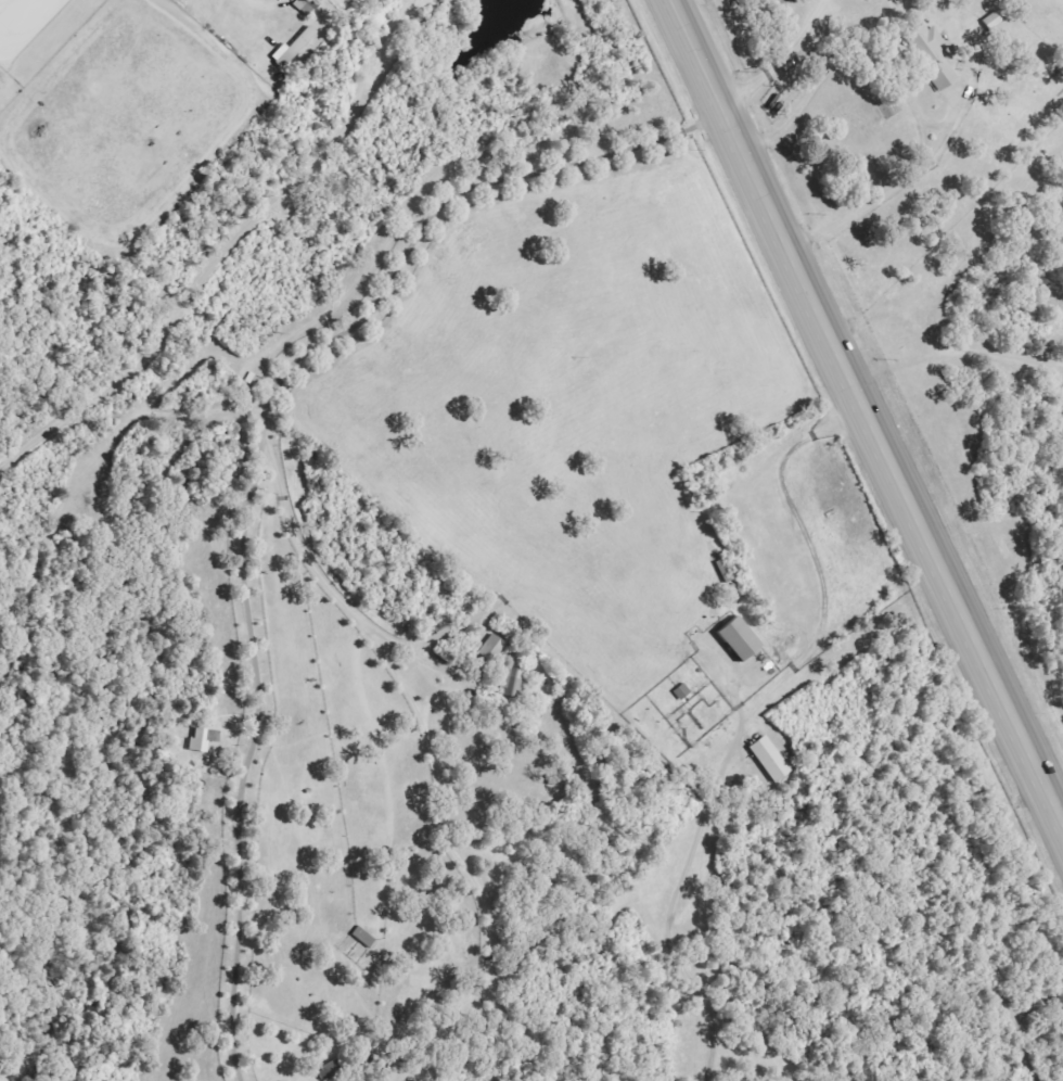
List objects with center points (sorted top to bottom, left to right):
building: (307, 7)
building: (295, 48)
building: (933, 55)
road: (223, 246)
road: (869, 408)
road: (255, 458)
building: (742, 640)
building: (494, 648)
building: (515, 681)
road: (746, 714)
road: (427, 730)
building: (204, 740)
building: (770, 760)
building: (364, 938)
road: (1021, 1018)
building: (336, 1068)

